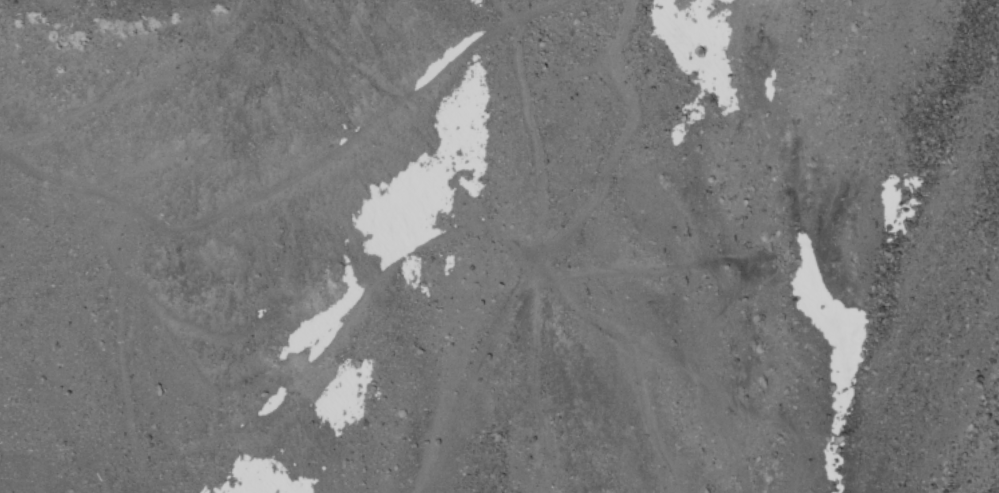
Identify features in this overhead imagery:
road: (291, 178)
road: (596, 274)

